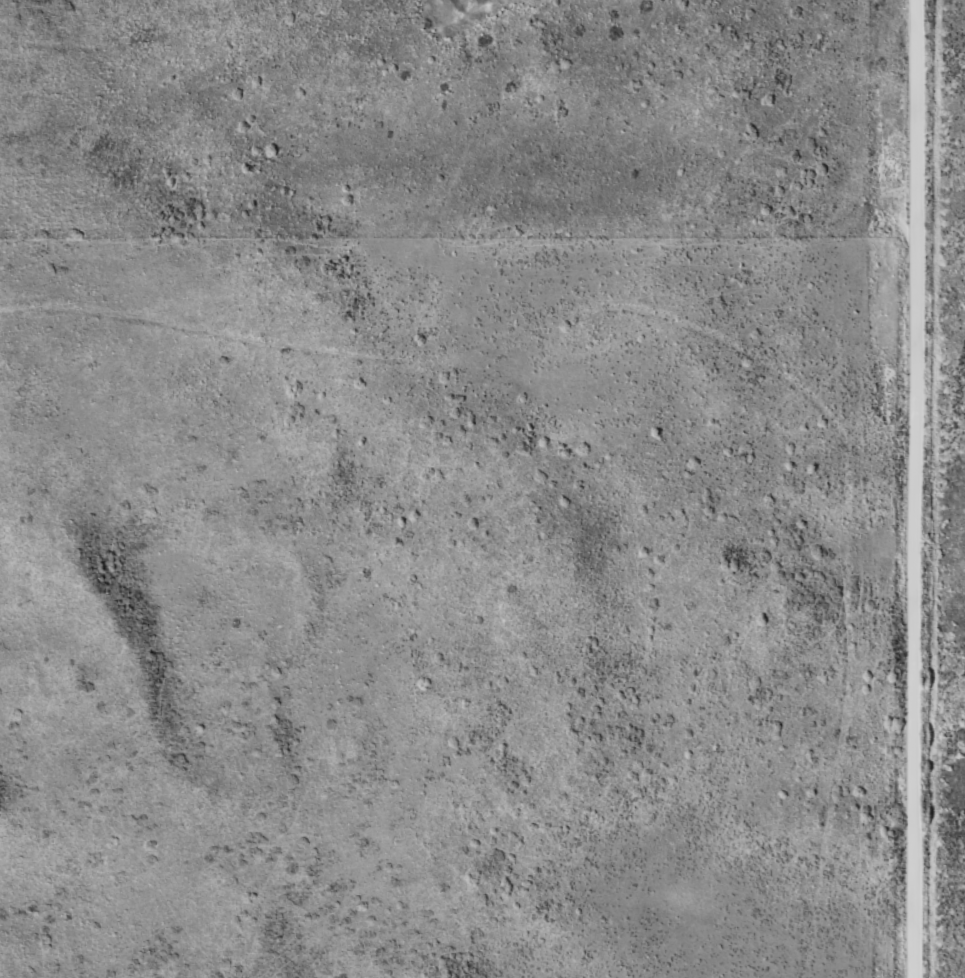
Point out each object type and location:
road: (916, 488)

